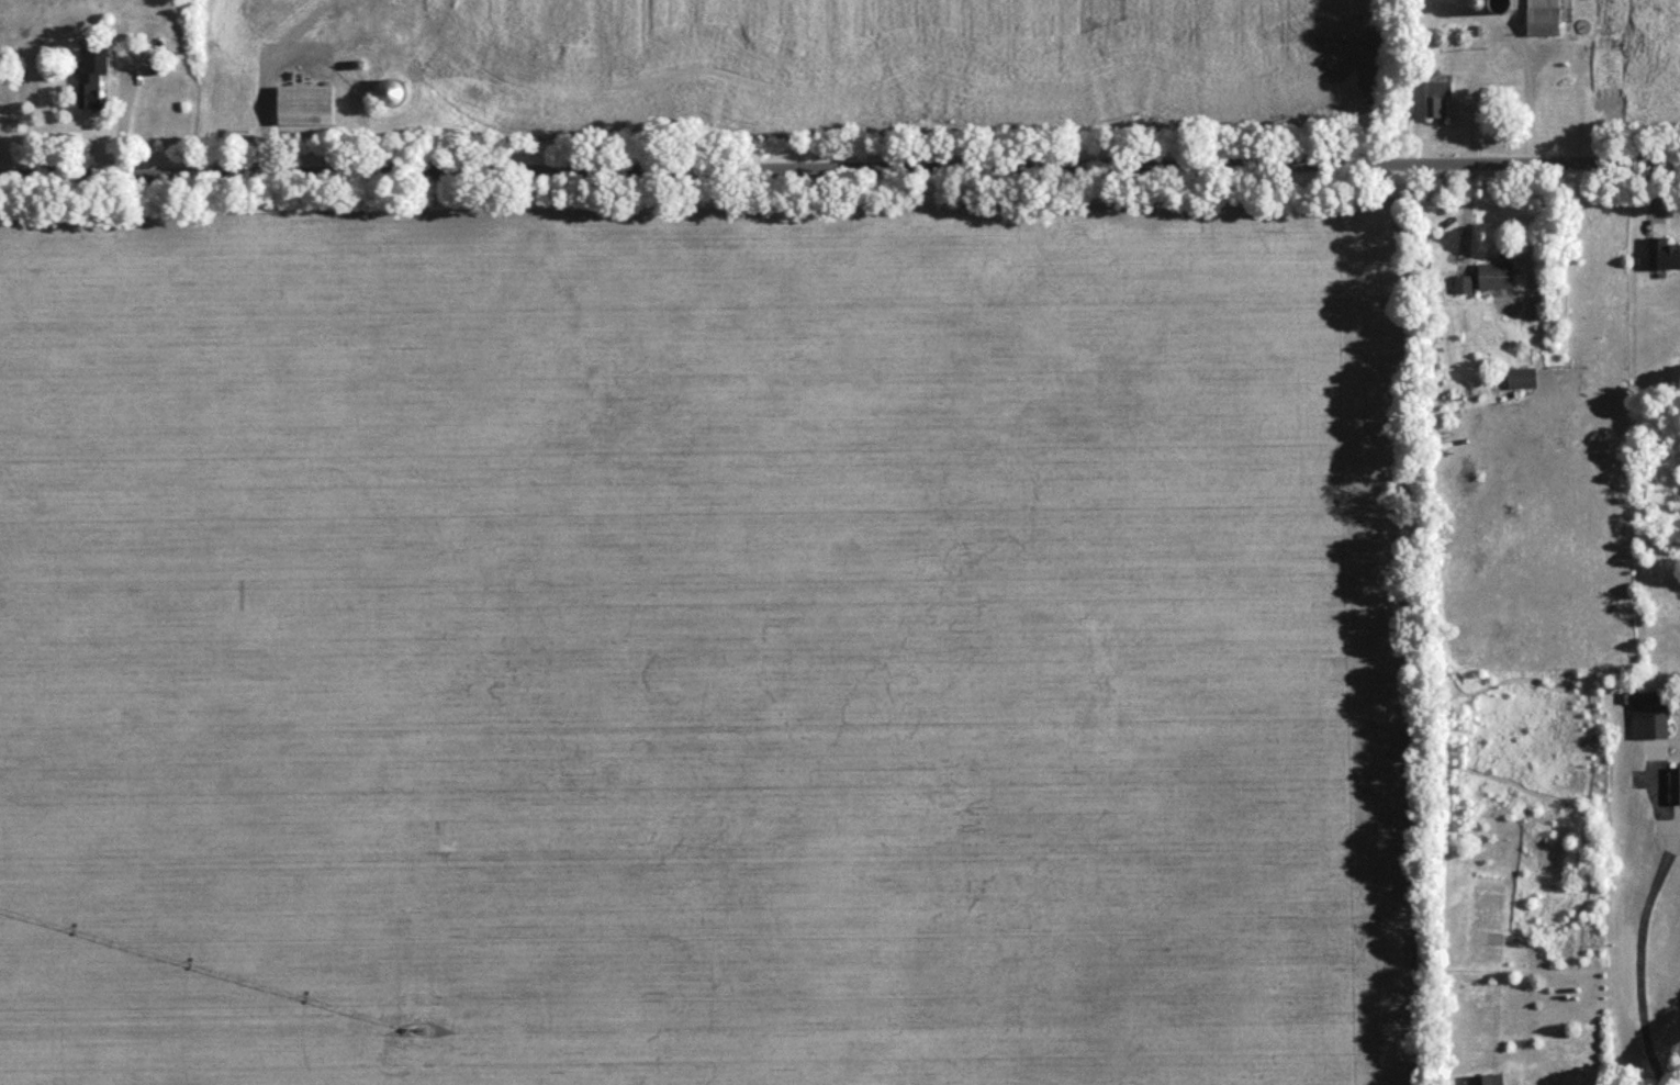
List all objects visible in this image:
building: (1542, 20)
building: (90, 82)
building: (387, 96)
building: (1436, 100)
building: (302, 109)
road: (840, 168)
building: (1665, 259)
building: (1493, 280)
building: (1460, 289)
building: (1519, 383)
building: (1647, 720)
building: (1675, 791)
road: (1635, 952)
building: (1485, 1082)

